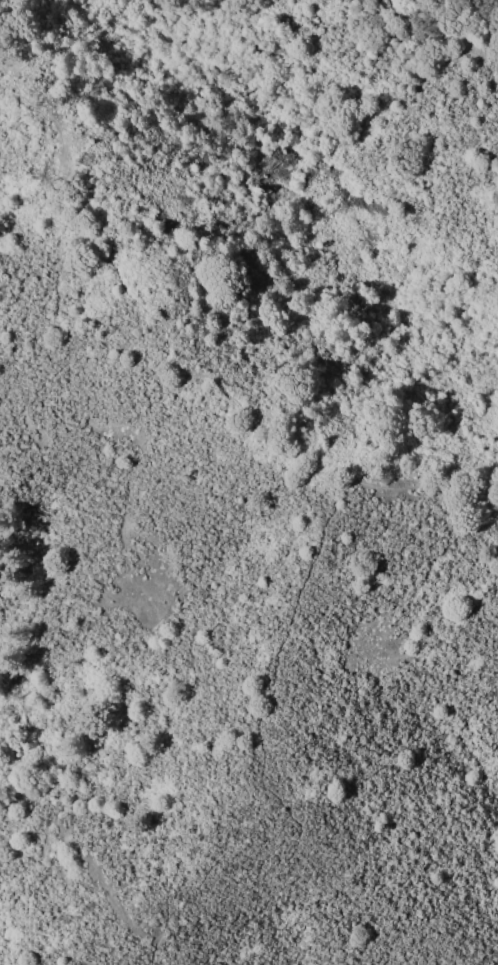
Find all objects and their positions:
power tower: (52, 97)
power tower: (93, 154)
road: (168, 361)
road: (271, 762)

